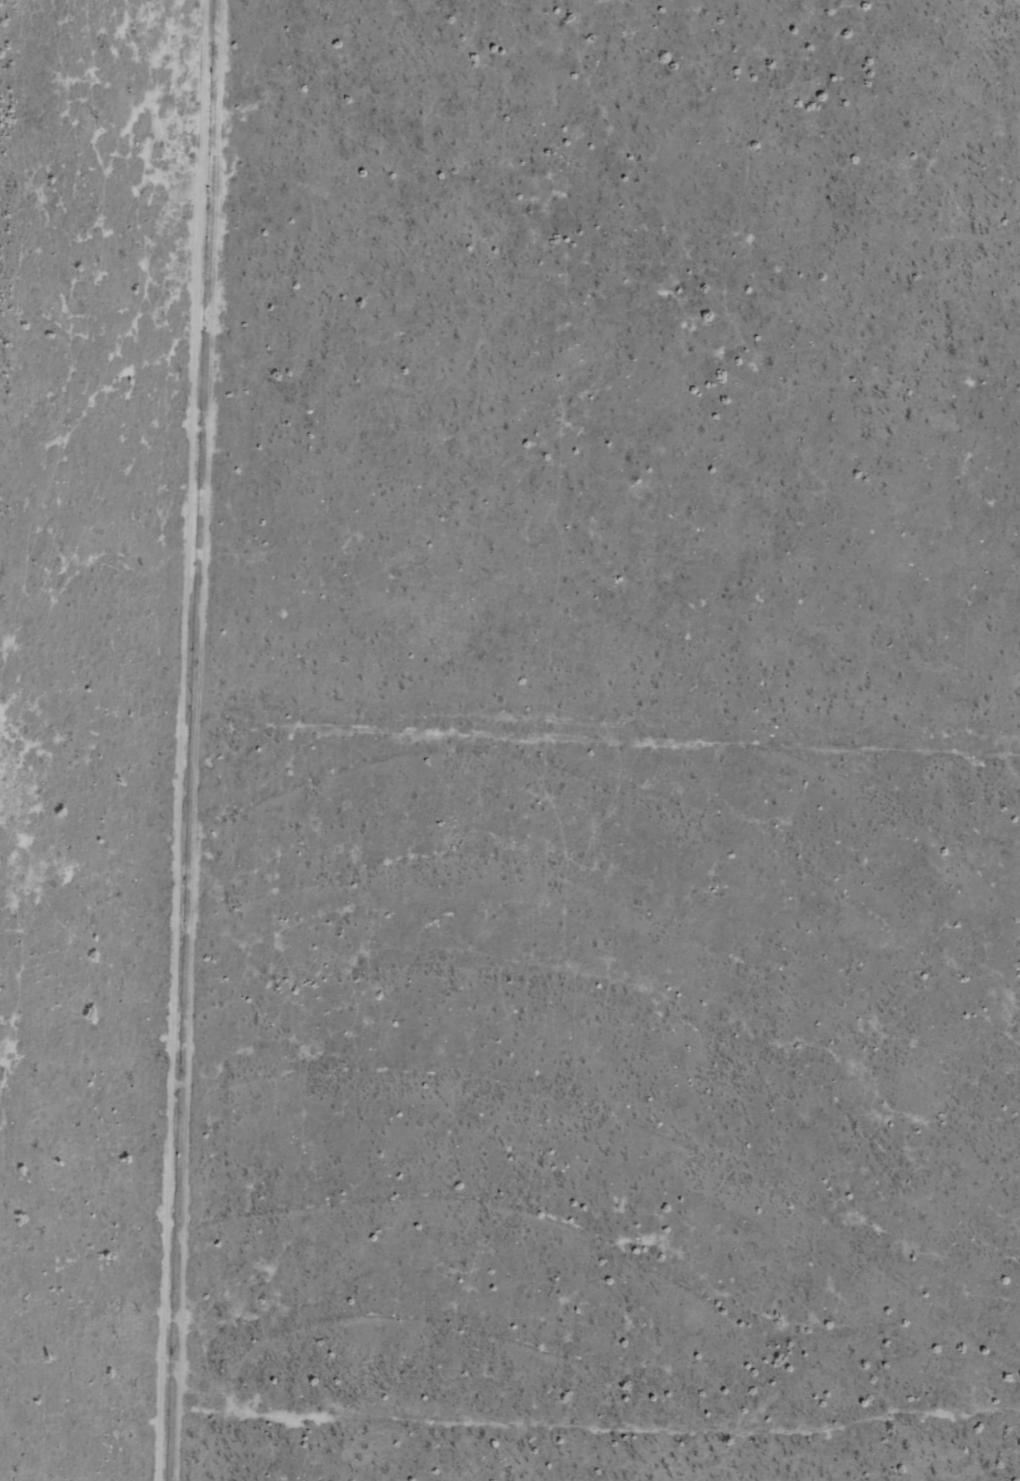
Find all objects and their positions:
road: (1001, 17)

